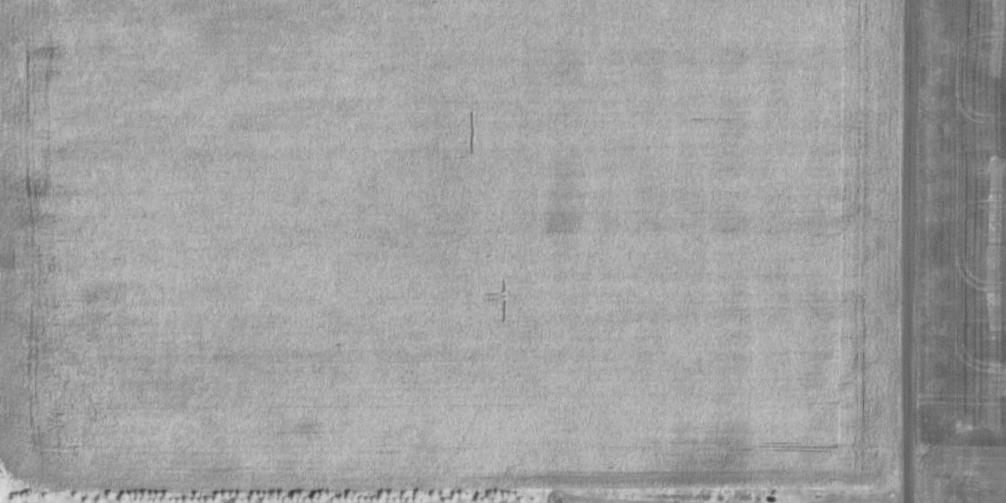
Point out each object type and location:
road: (906, 251)

